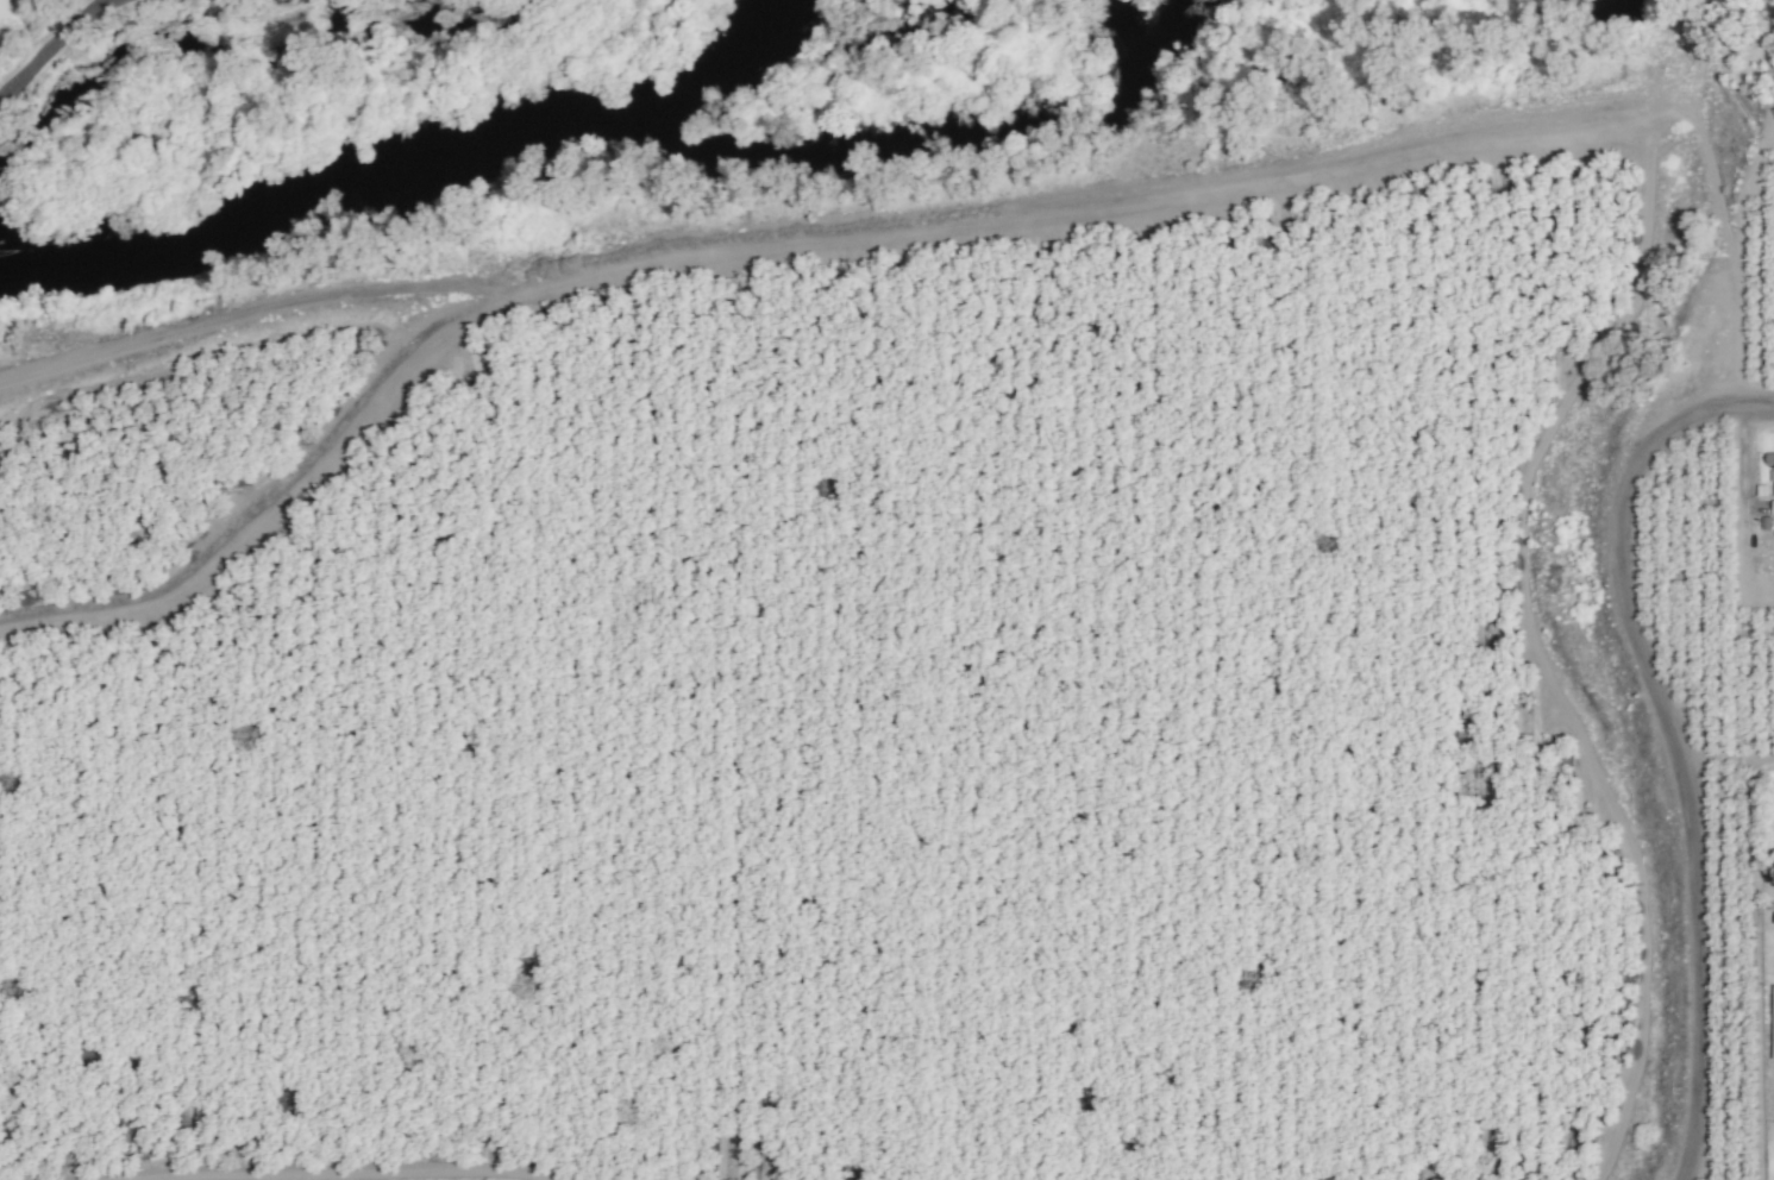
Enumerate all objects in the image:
river: (410, 162)
building: (1769, 459)
crop: (903, 674)
road: (1673, 736)
building: (1772, 1022)

